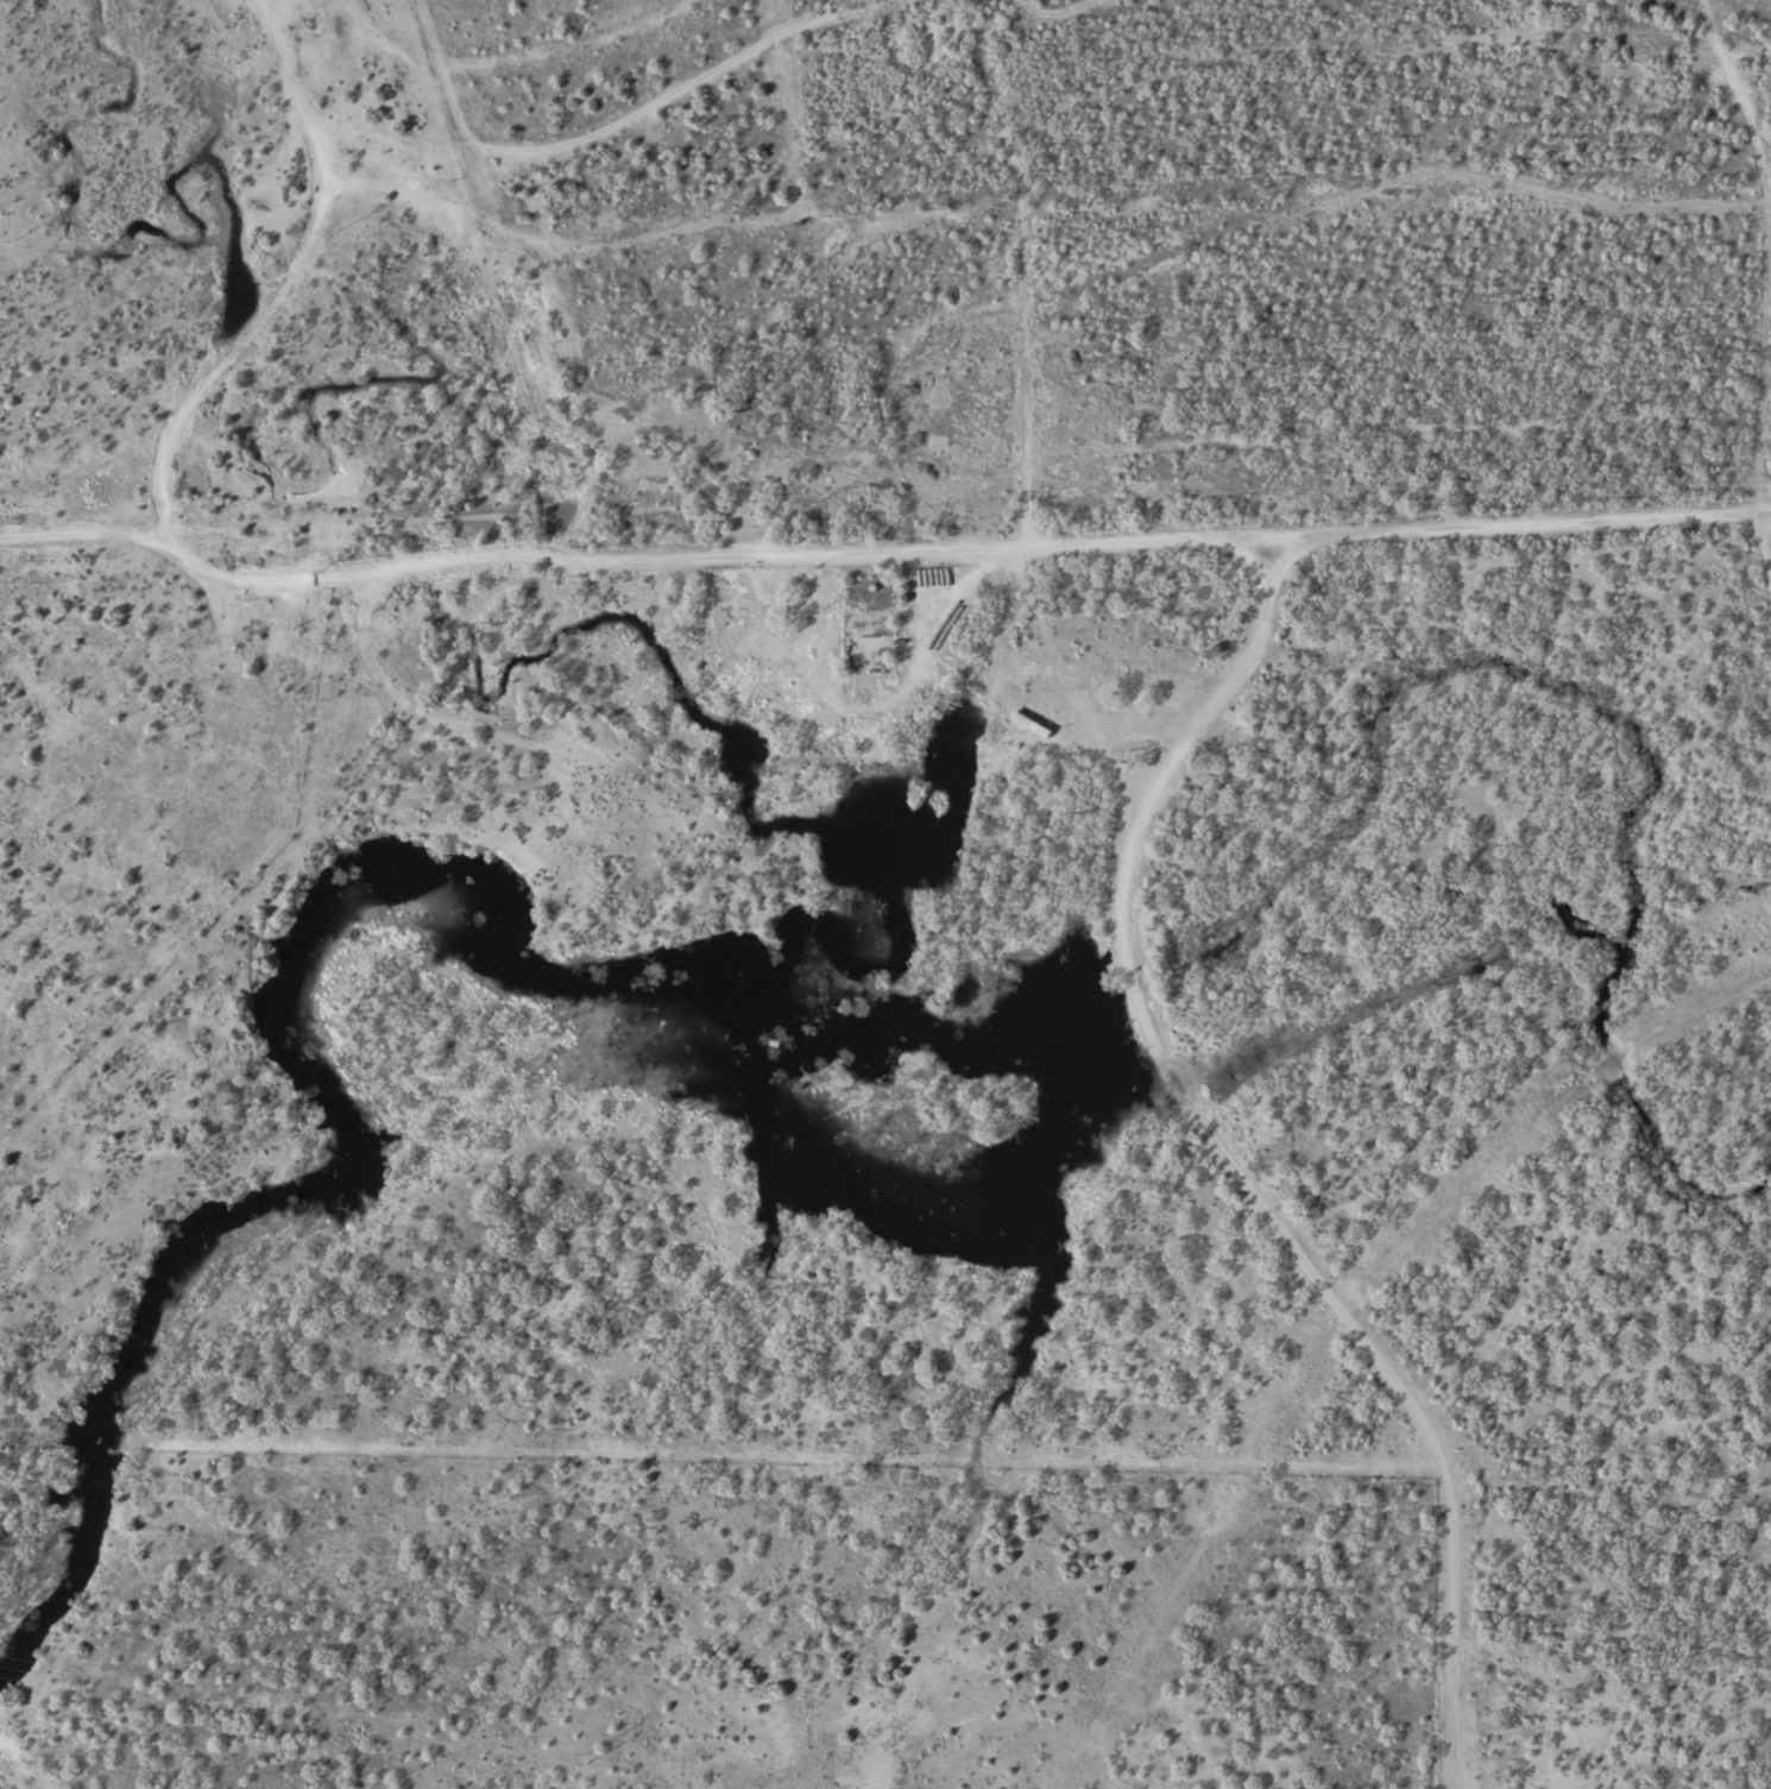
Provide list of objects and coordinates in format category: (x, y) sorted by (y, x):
road: (647, 592)
road: (1351, 1324)
power tower: (155, 1689)
power tower: (584, 1758)

